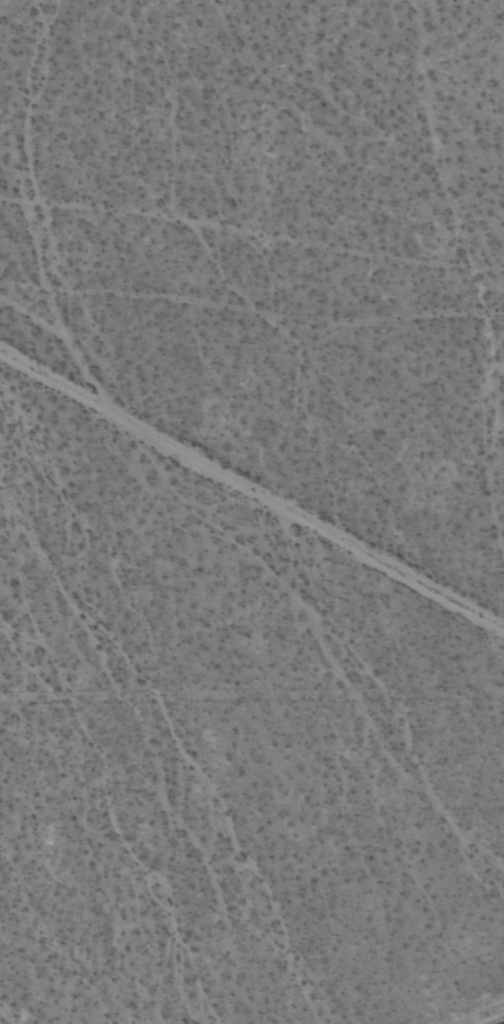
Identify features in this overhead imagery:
road: (250, 496)
railway: (500, 1022)

